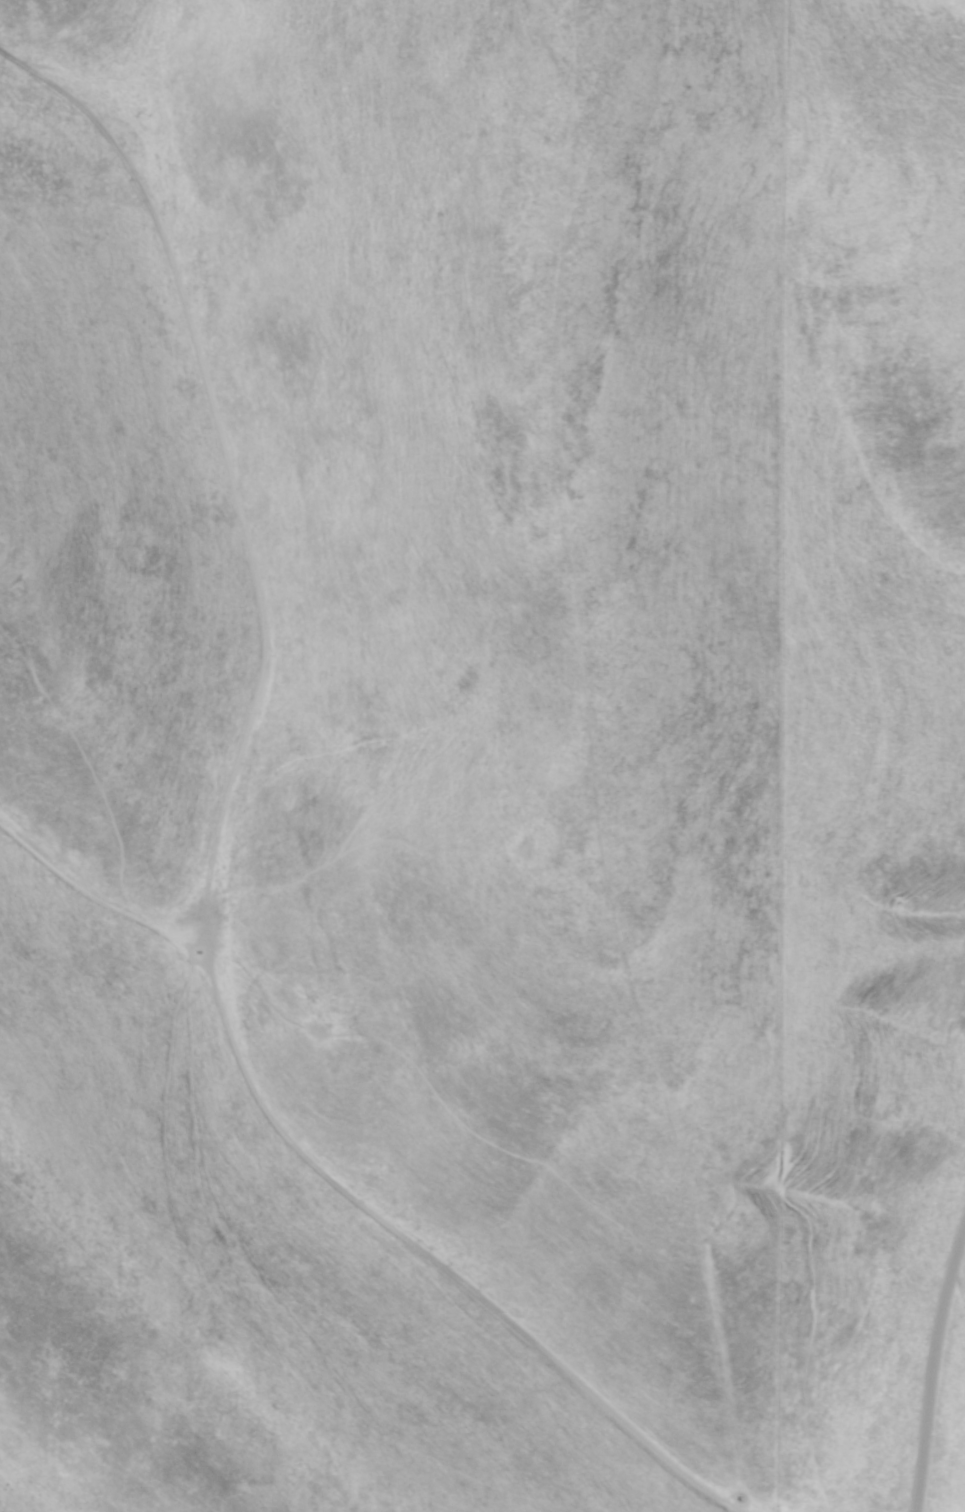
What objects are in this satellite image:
road: (930, 1395)

